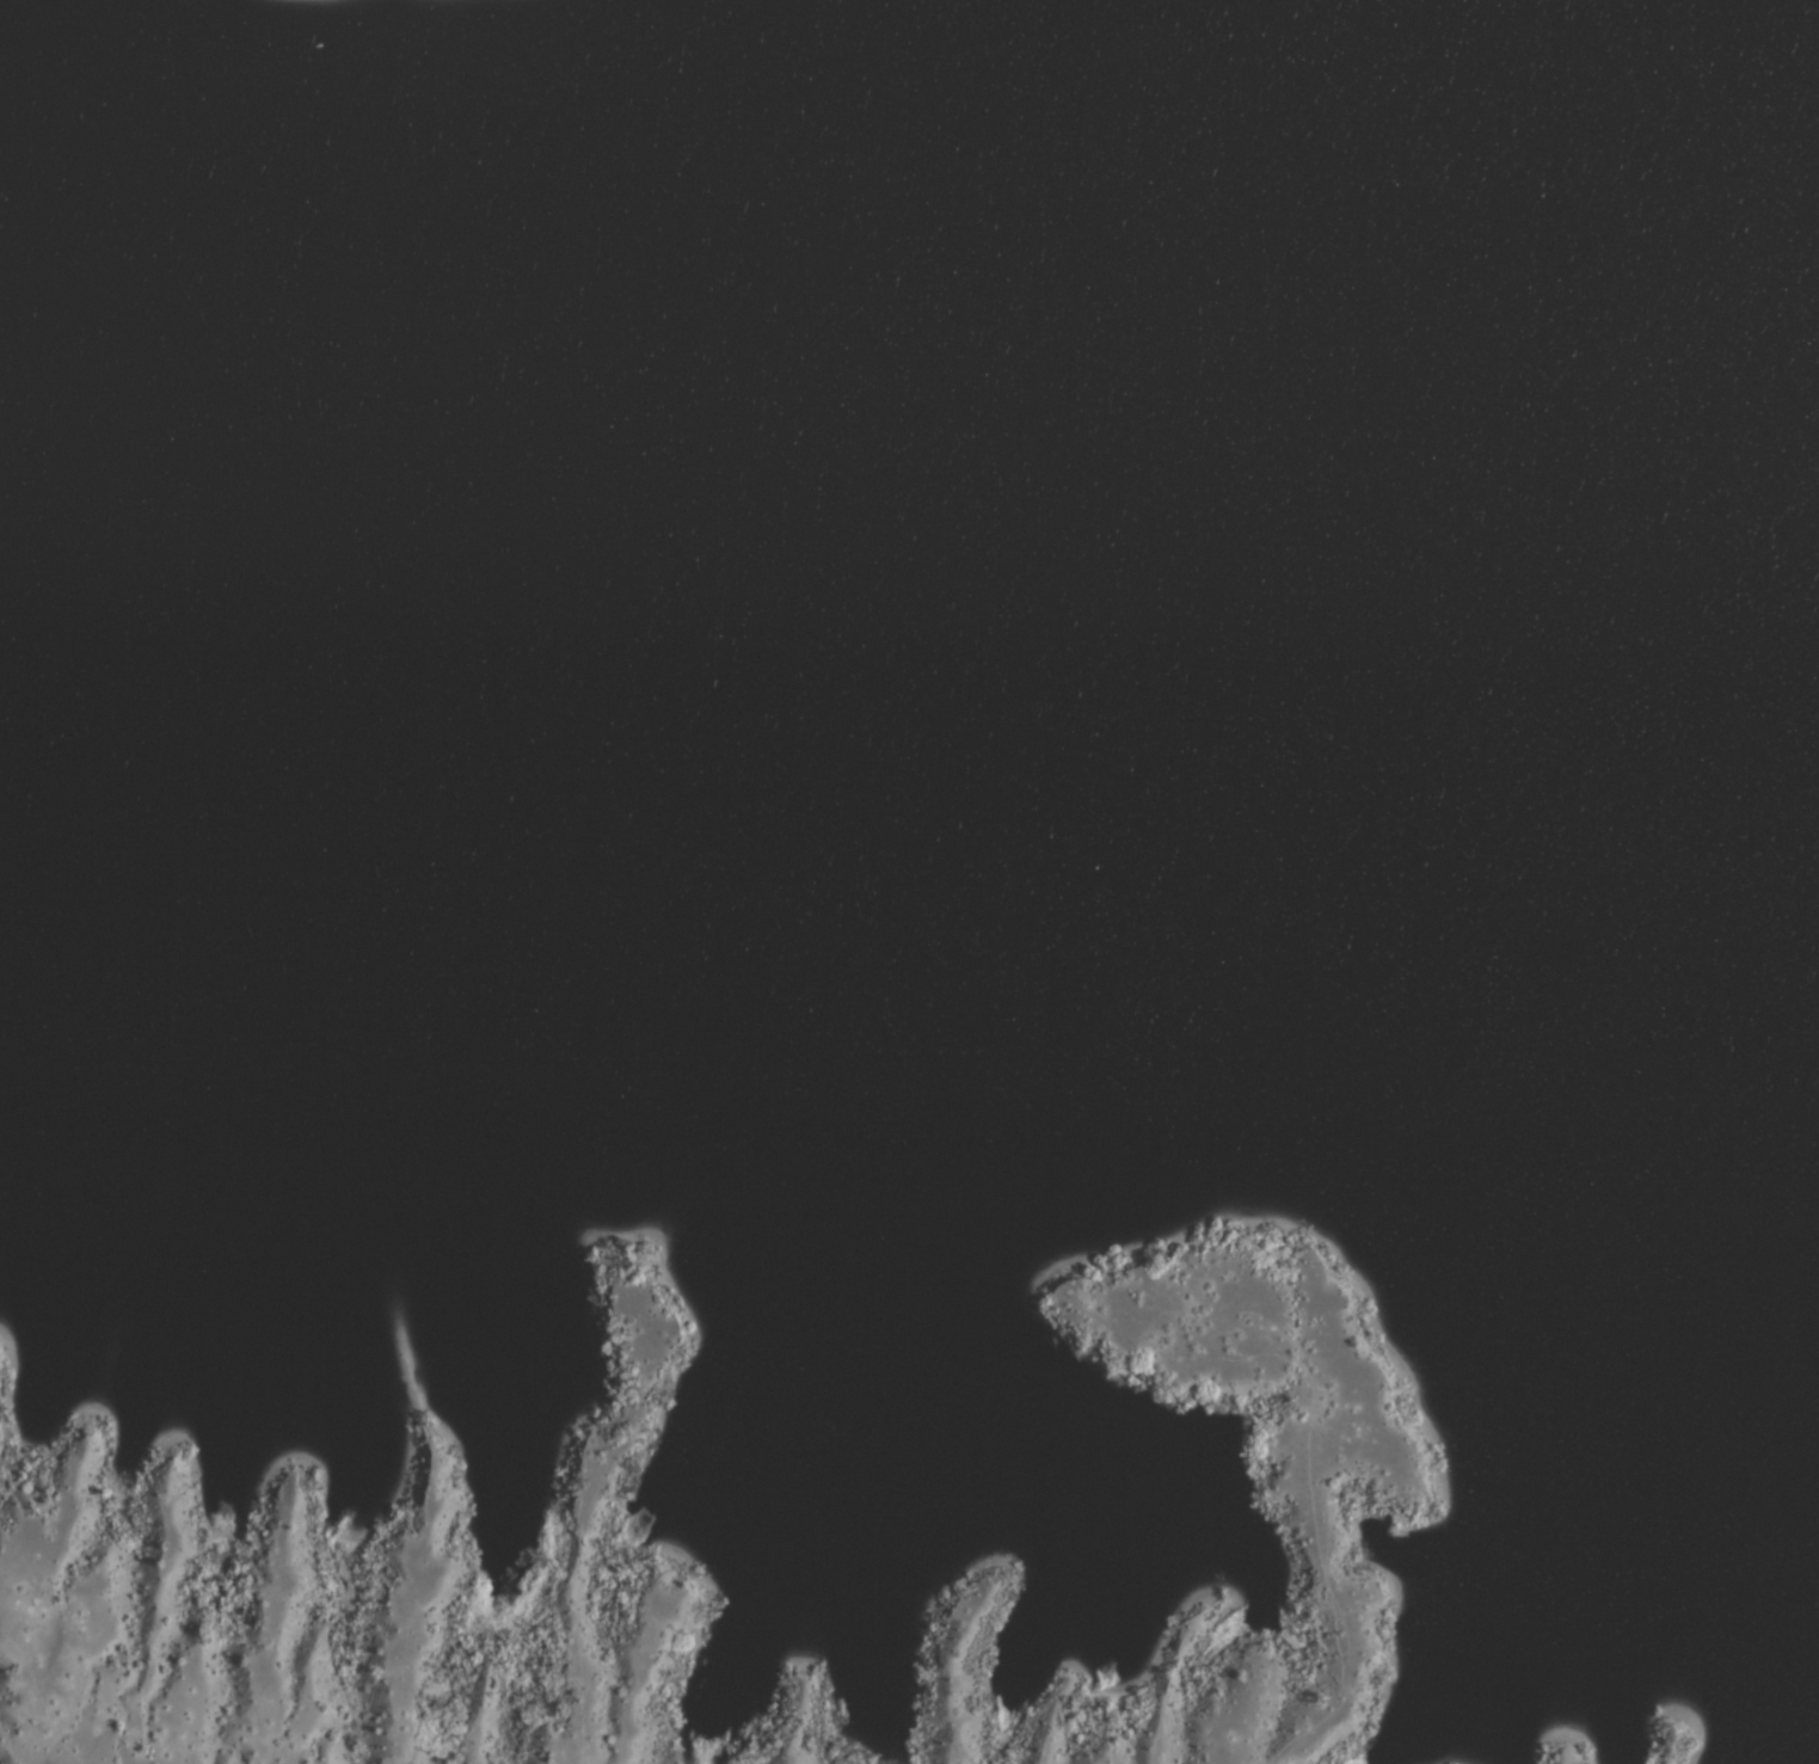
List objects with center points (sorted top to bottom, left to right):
park: (461, 1)
river: (903, 606)

